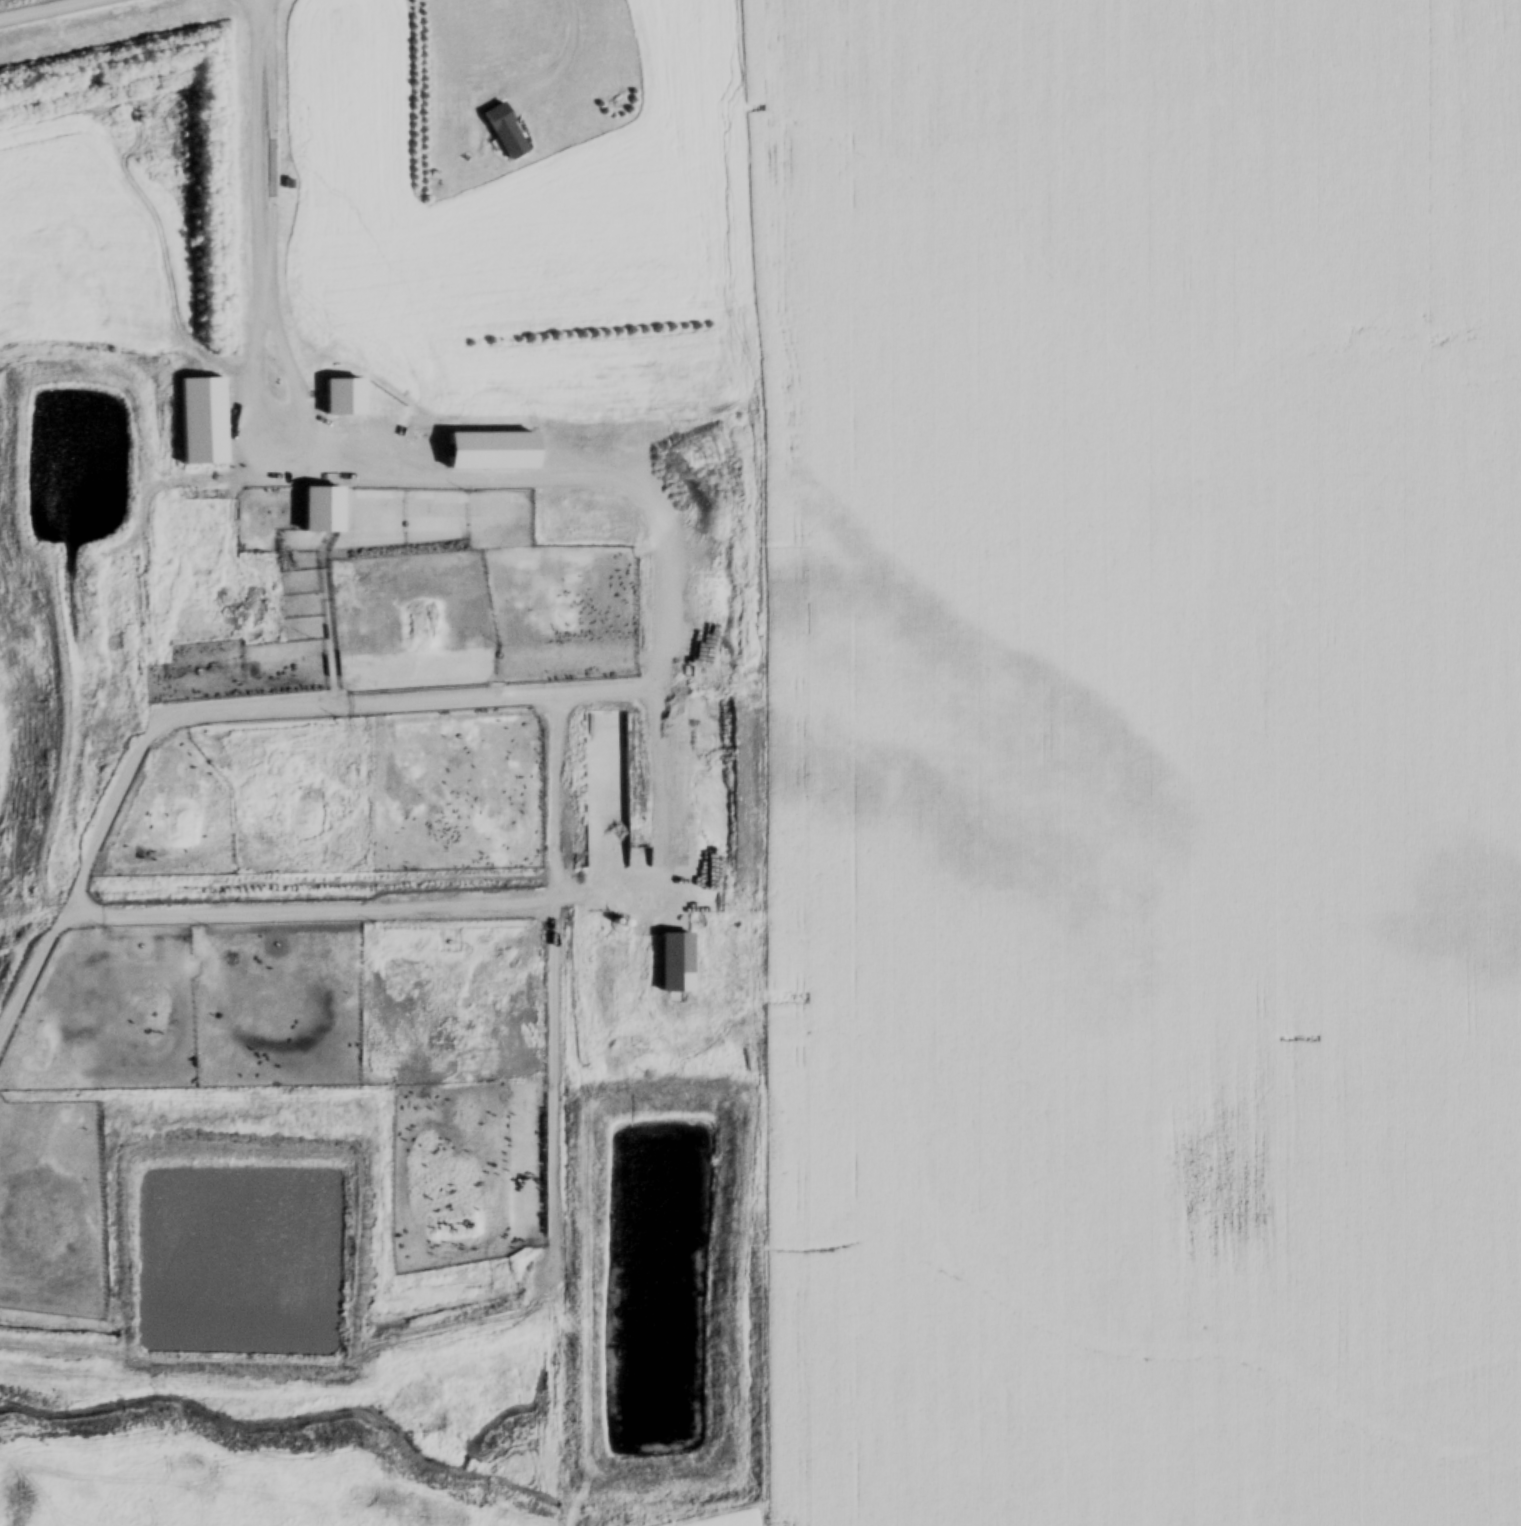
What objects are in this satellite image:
road: (27, 5)
building: (507, 133)
building: (730, 392)
road: (517, 405)
building: (345, 420)
building: (452, 456)
building: (475, 456)
building: (748, 757)
building: (677, 964)

